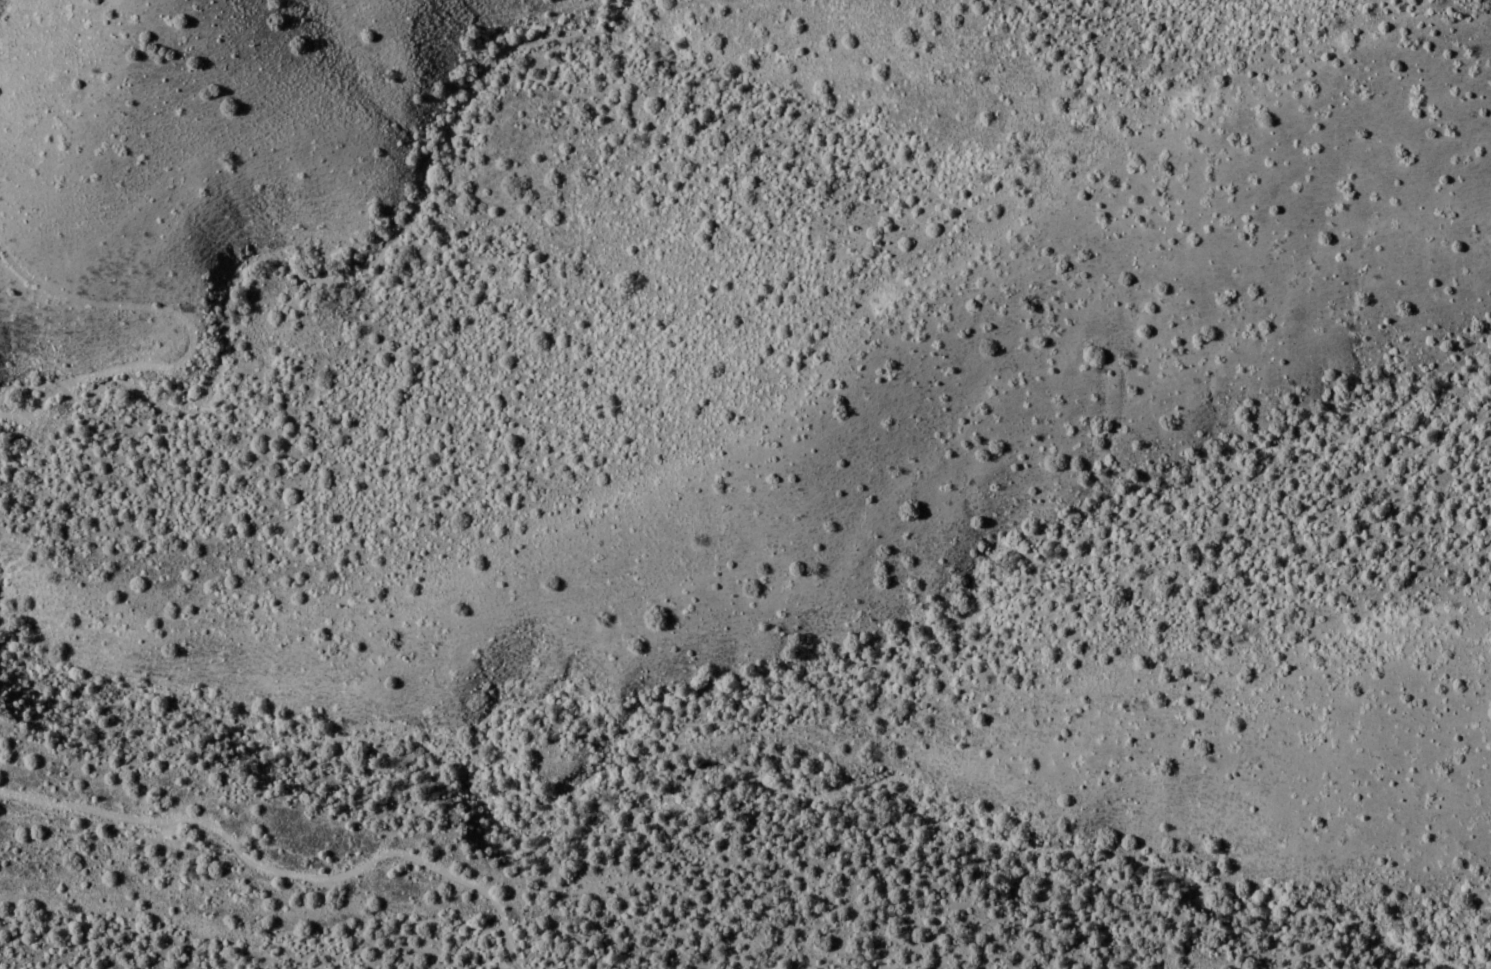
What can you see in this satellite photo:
road: (134, 407)
road: (304, 806)

